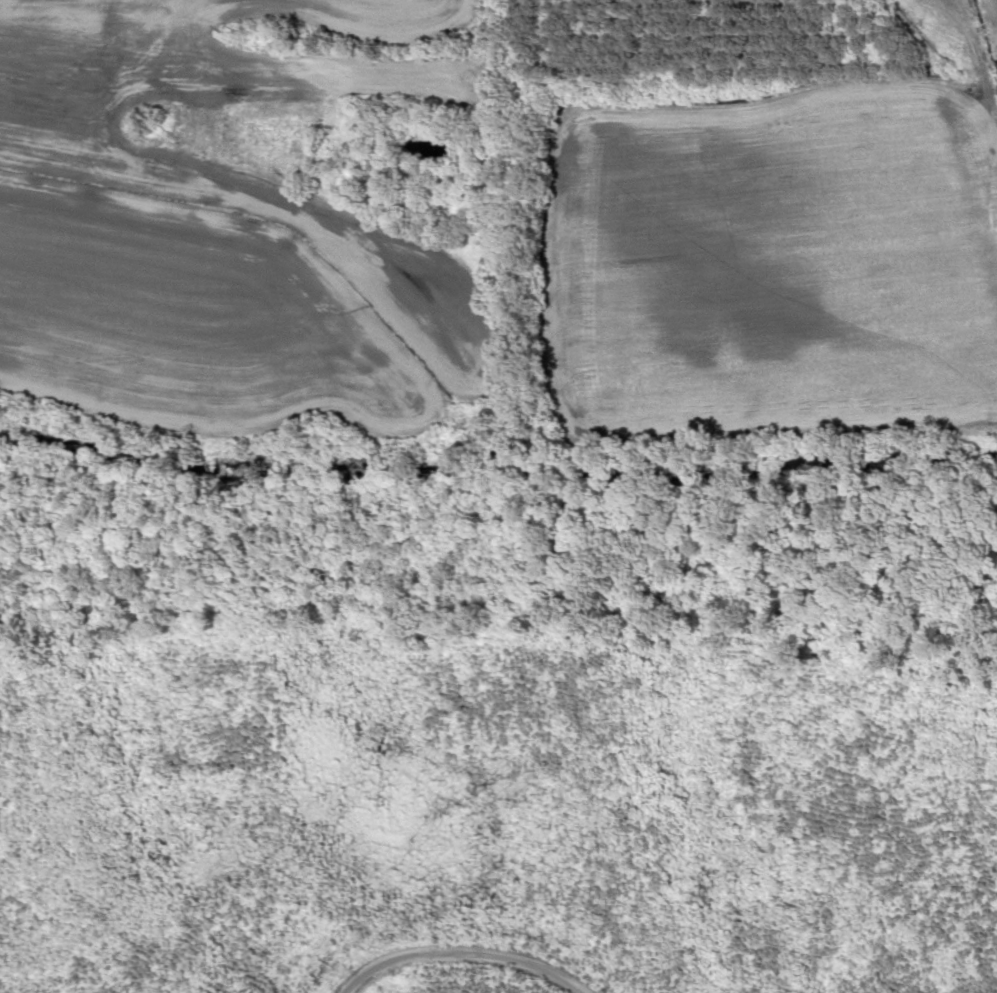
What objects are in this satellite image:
road: (465, 946)

